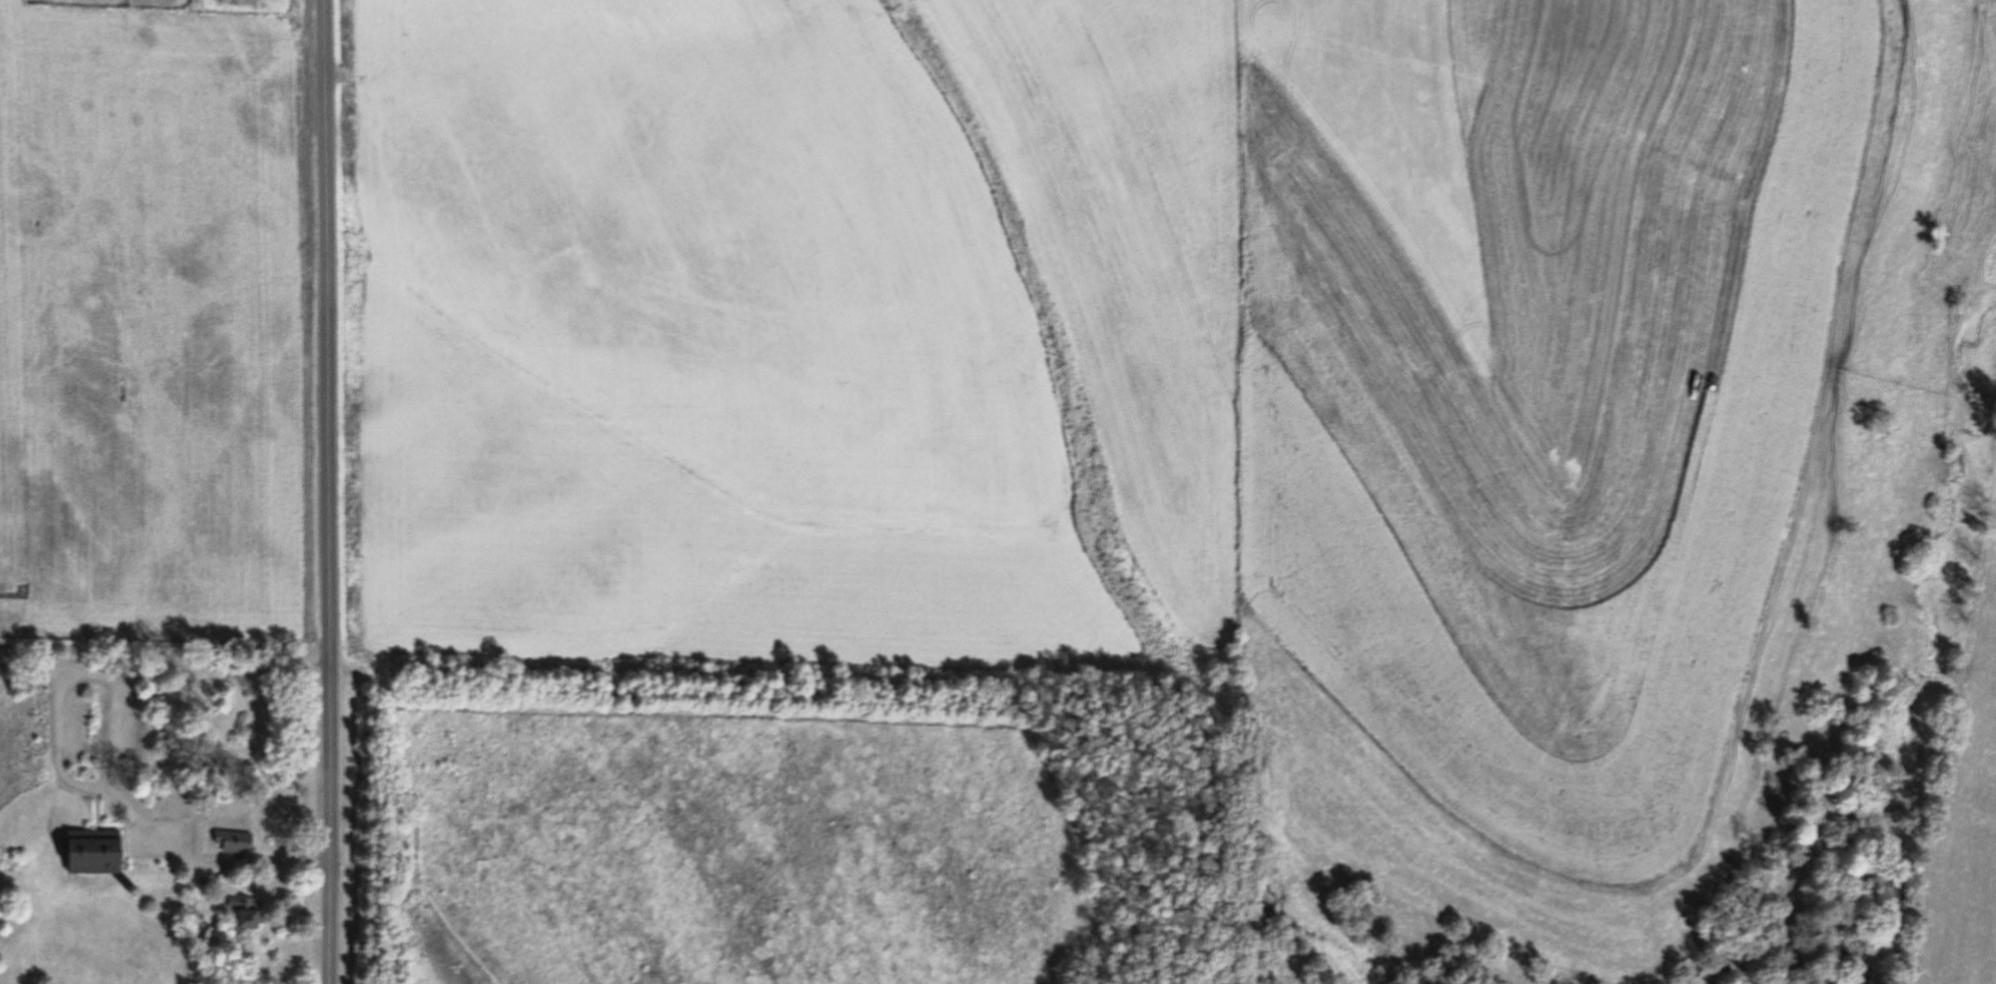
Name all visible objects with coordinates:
road: (326, 492)
road: (59, 724)
road: (110, 757)
building: (225, 795)
building: (234, 842)
building: (93, 853)
road: (378, 903)
building: (245, 914)

